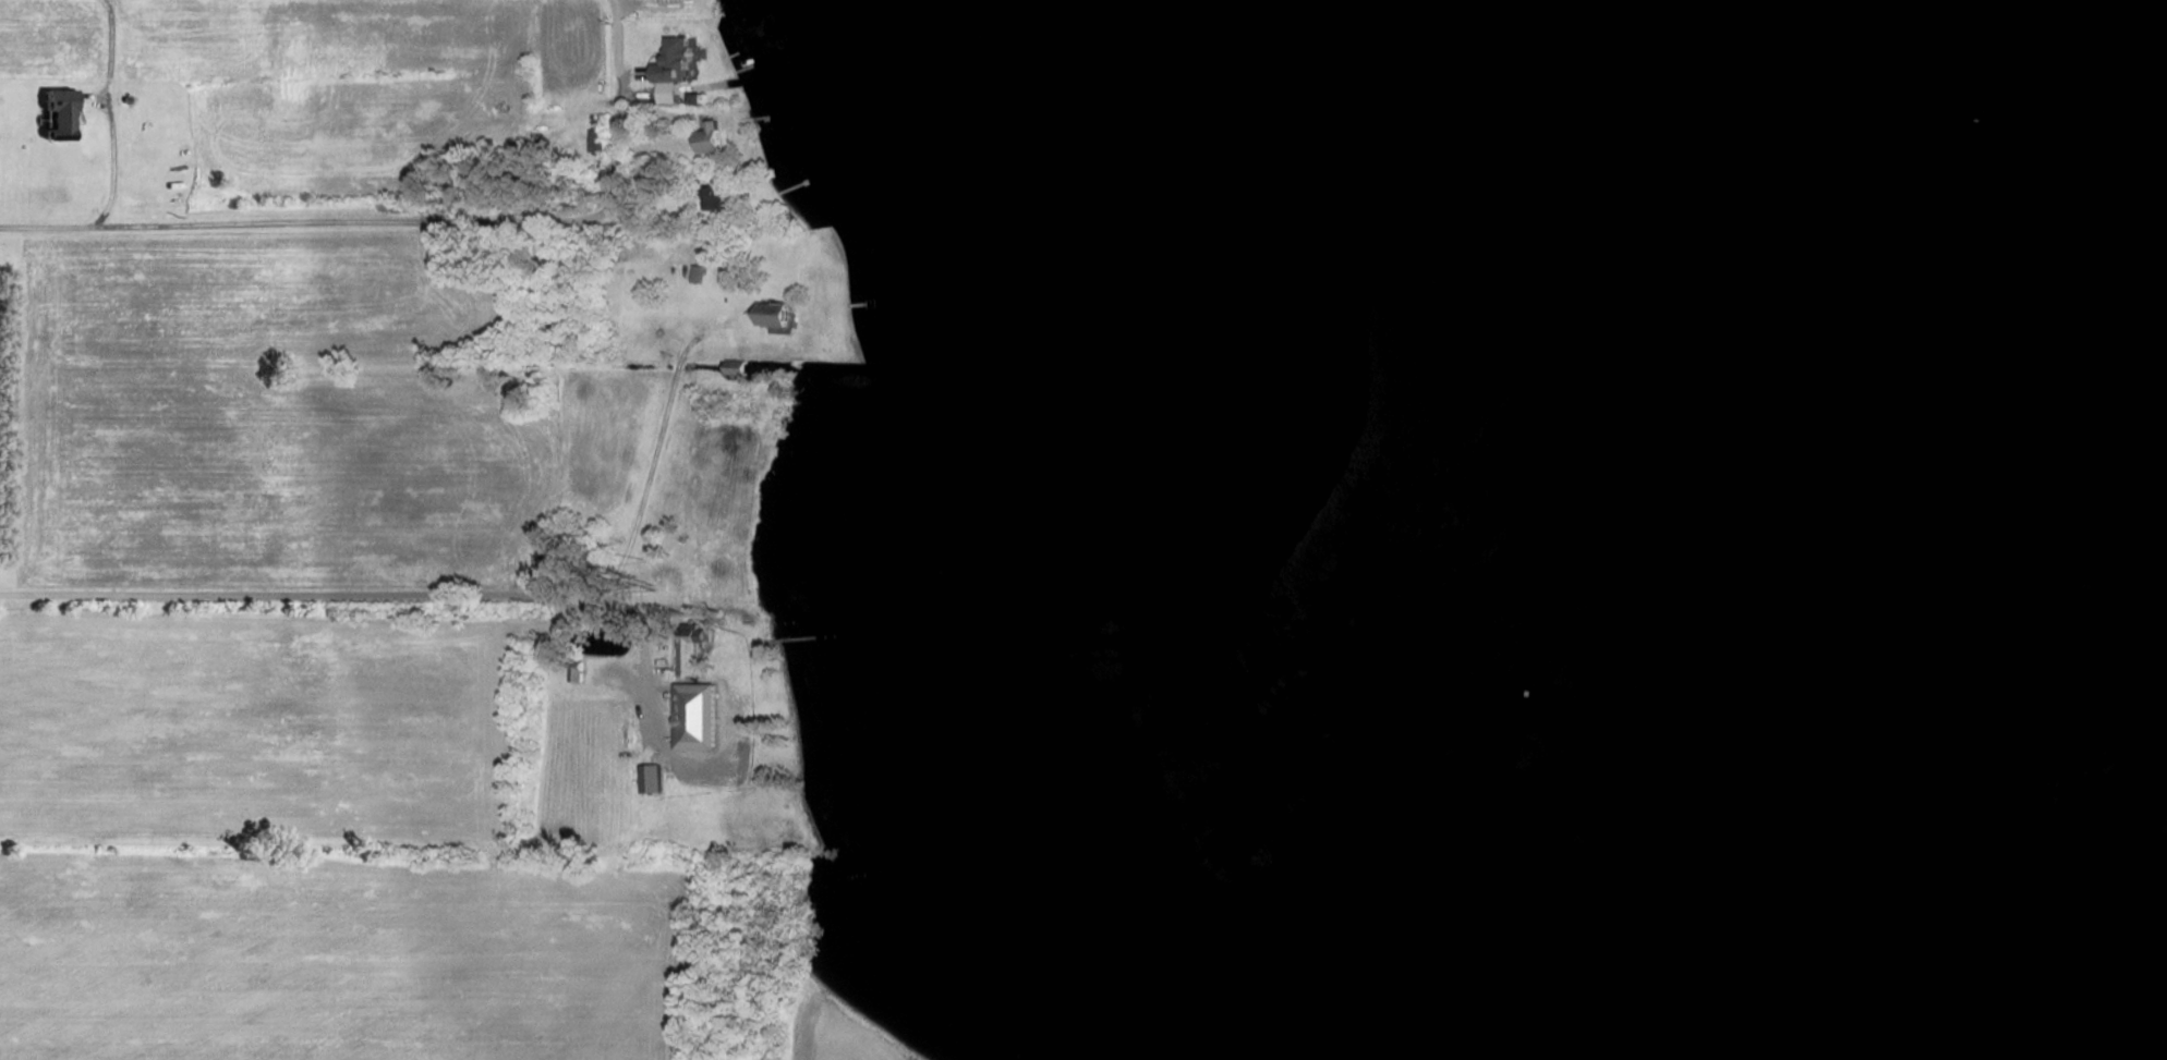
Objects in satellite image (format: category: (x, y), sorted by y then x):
building: (664, 2)
building: (677, 60)
building: (58, 106)
road: (111, 119)
building: (601, 139)
building: (711, 143)
building: (650, 184)
building: (716, 196)
building: (669, 222)
road: (412, 223)
building: (698, 272)
building: (727, 278)
building: (773, 314)
building: (737, 367)
road: (452, 596)
building: (749, 618)
road: (630, 630)
building: (693, 648)
building: (577, 670)
building: (698, 716)
crop: (256, 724)
building: (653, 778)
road: (373, 846)
crop: (338, 960)
crop: (843, 1041)

